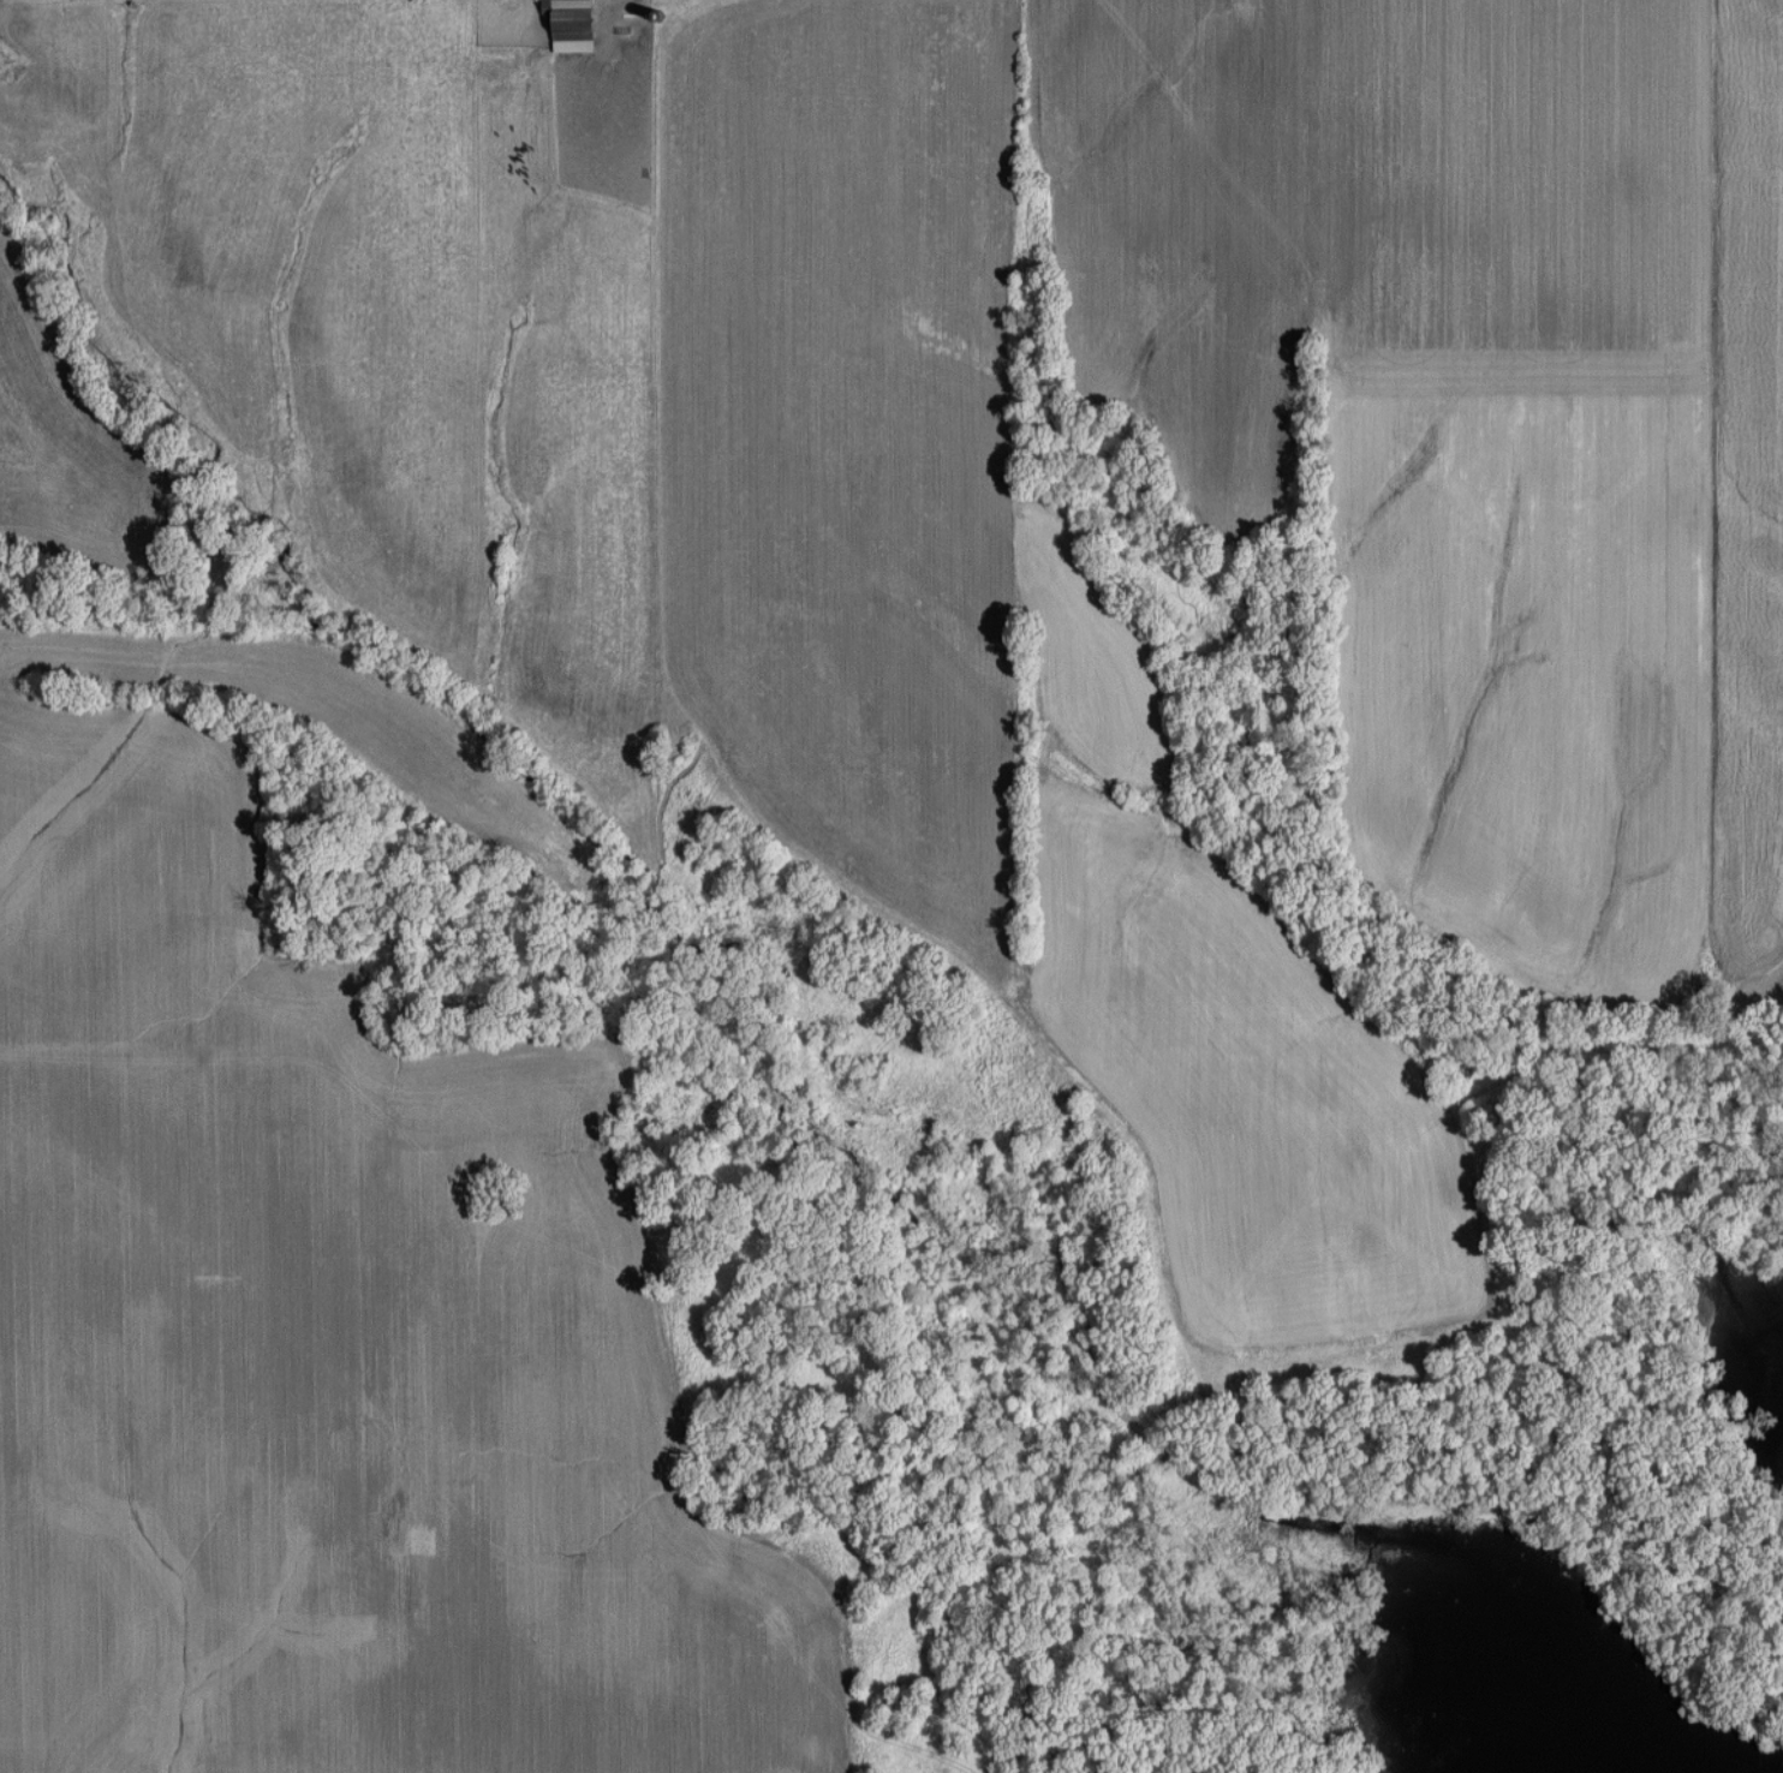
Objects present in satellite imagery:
building: (565, 24)

